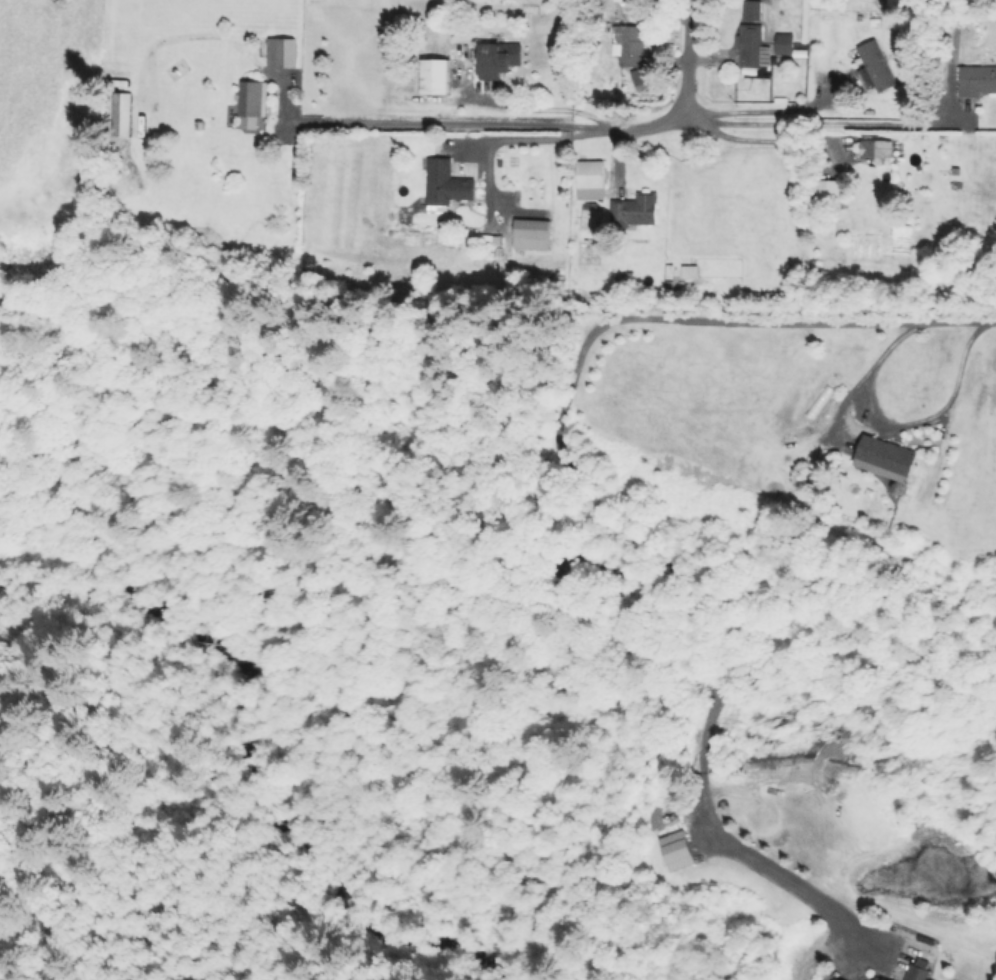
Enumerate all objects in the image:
building: (895, 0)
building: (753, 10)
building: (785, 44)
building: (629, 45)
building: (750, 45)
building: (281, 52)
building: (499, 59)
building: (876, 64)
building: (437, 76)
building: (977, 81)
road: (684, 92)
building: (253, 97)
road: (540, 107)
road: (752, 108)
building: (122, 112)
road: (821, 122)
road: (454, 123)
road: (537, 137)
road: (743, 139)
building: (877, 148)
building: (590, 174)
building: (447, 184)
building: (635, 211)
building: (589, 217)
building: (532, 234)
building: (912, 397)
building: (819, 401)
road: (902, 423)
building: (886, 458)
road: (661, 553)
building: (680, 849)
building: (918, 973)
building: (840, 979)
building: (886, 979)

